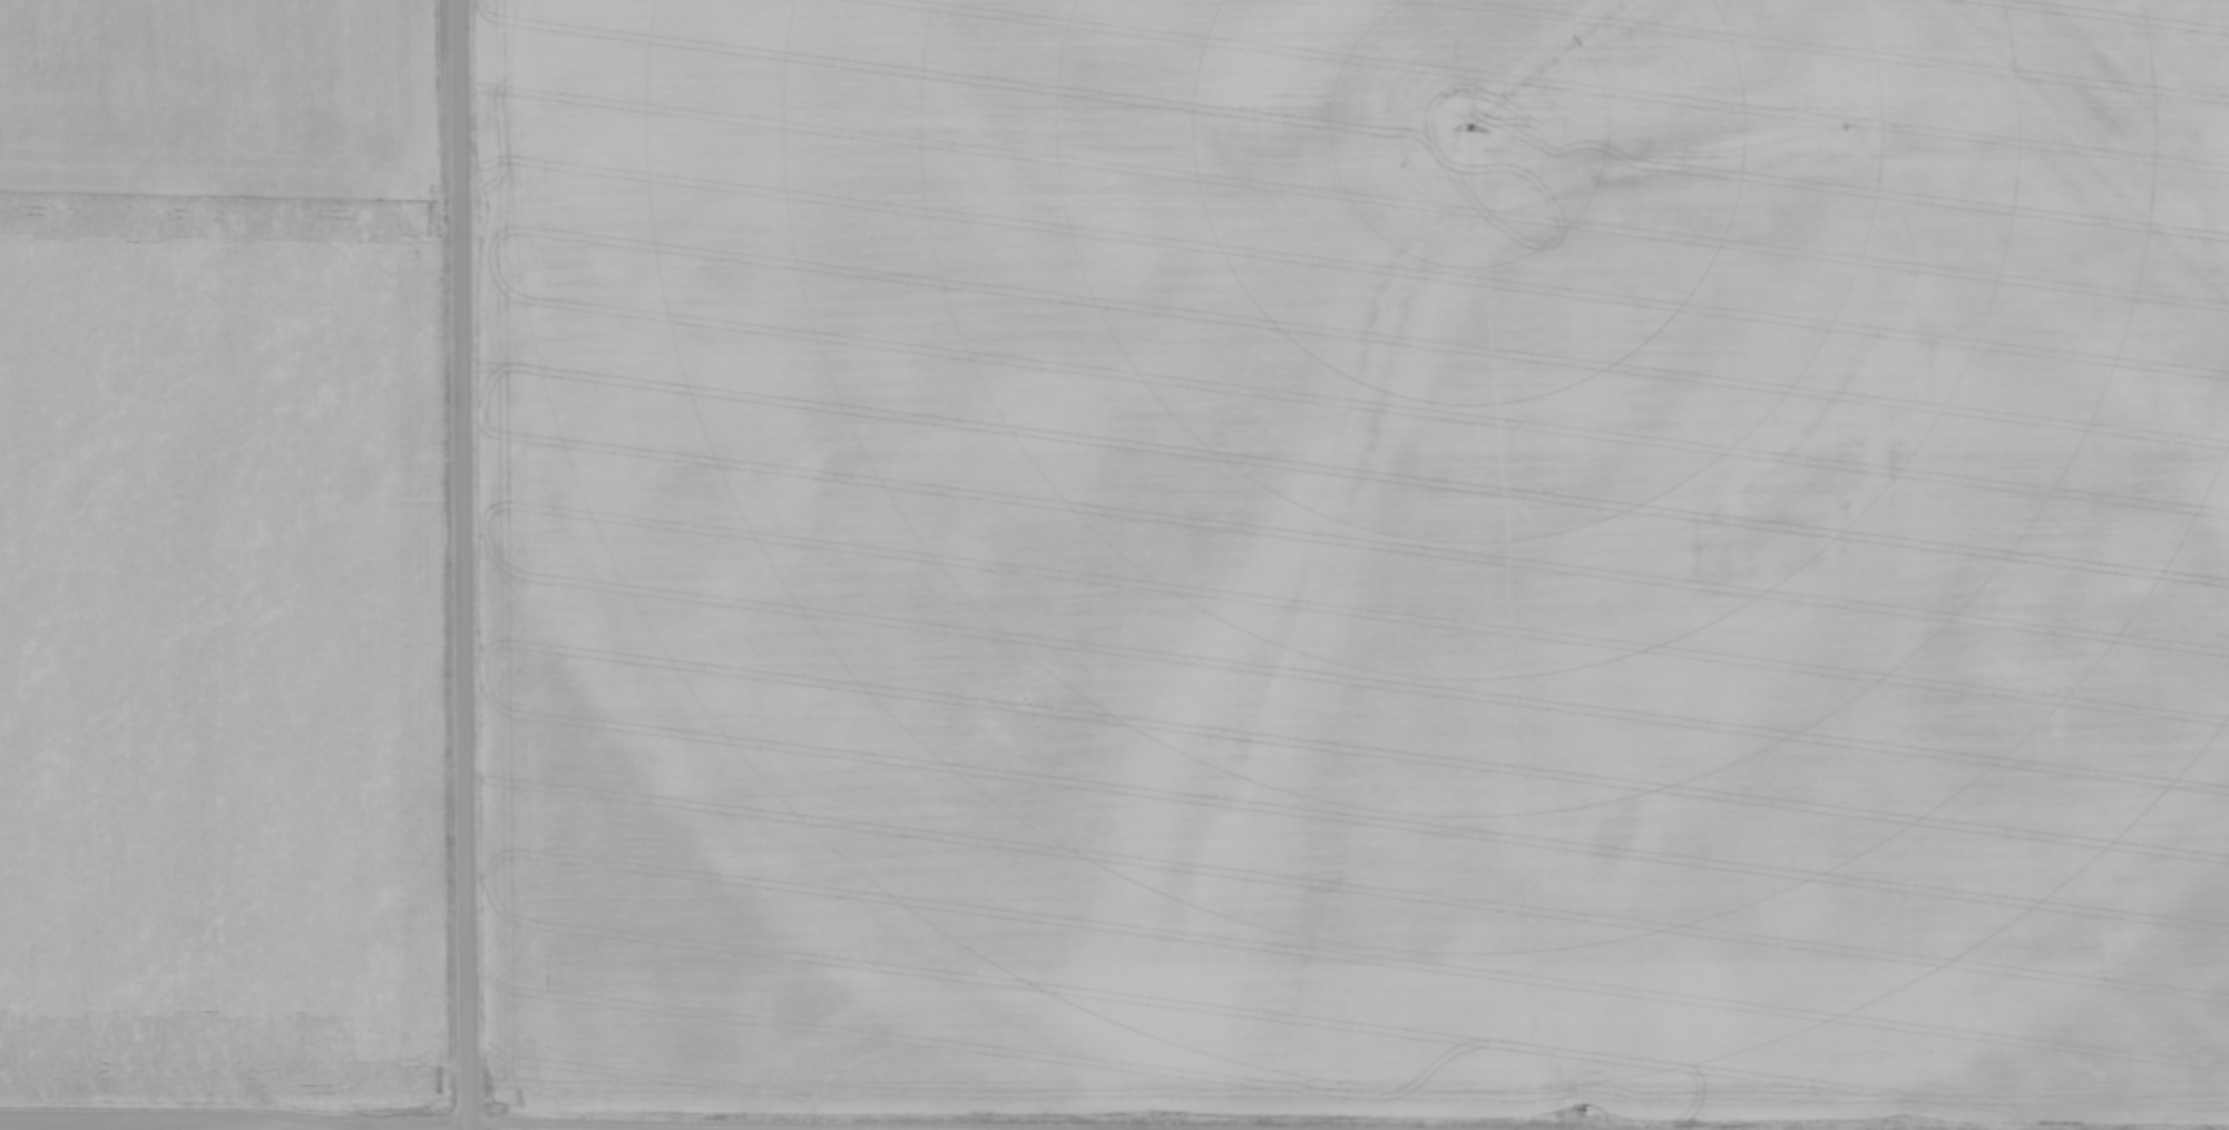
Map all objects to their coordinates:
road: (462, 564)
road: (164, 1129)

